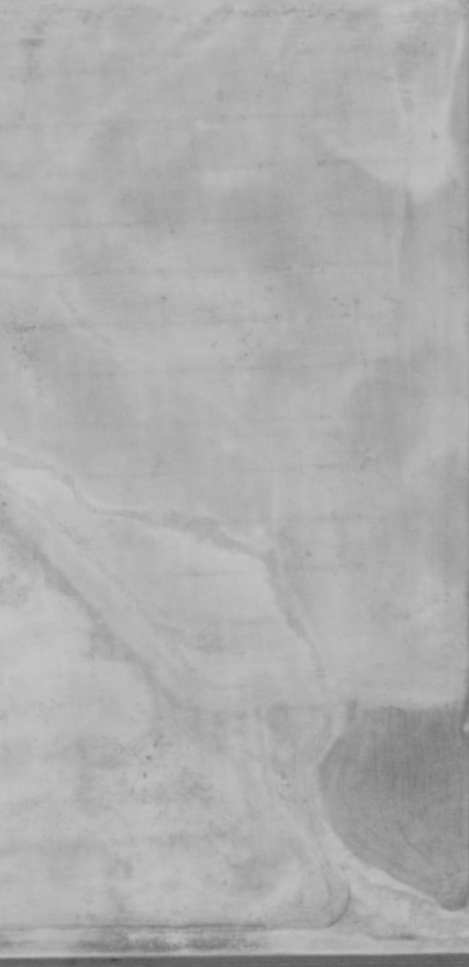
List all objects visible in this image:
road: (234, 960)

